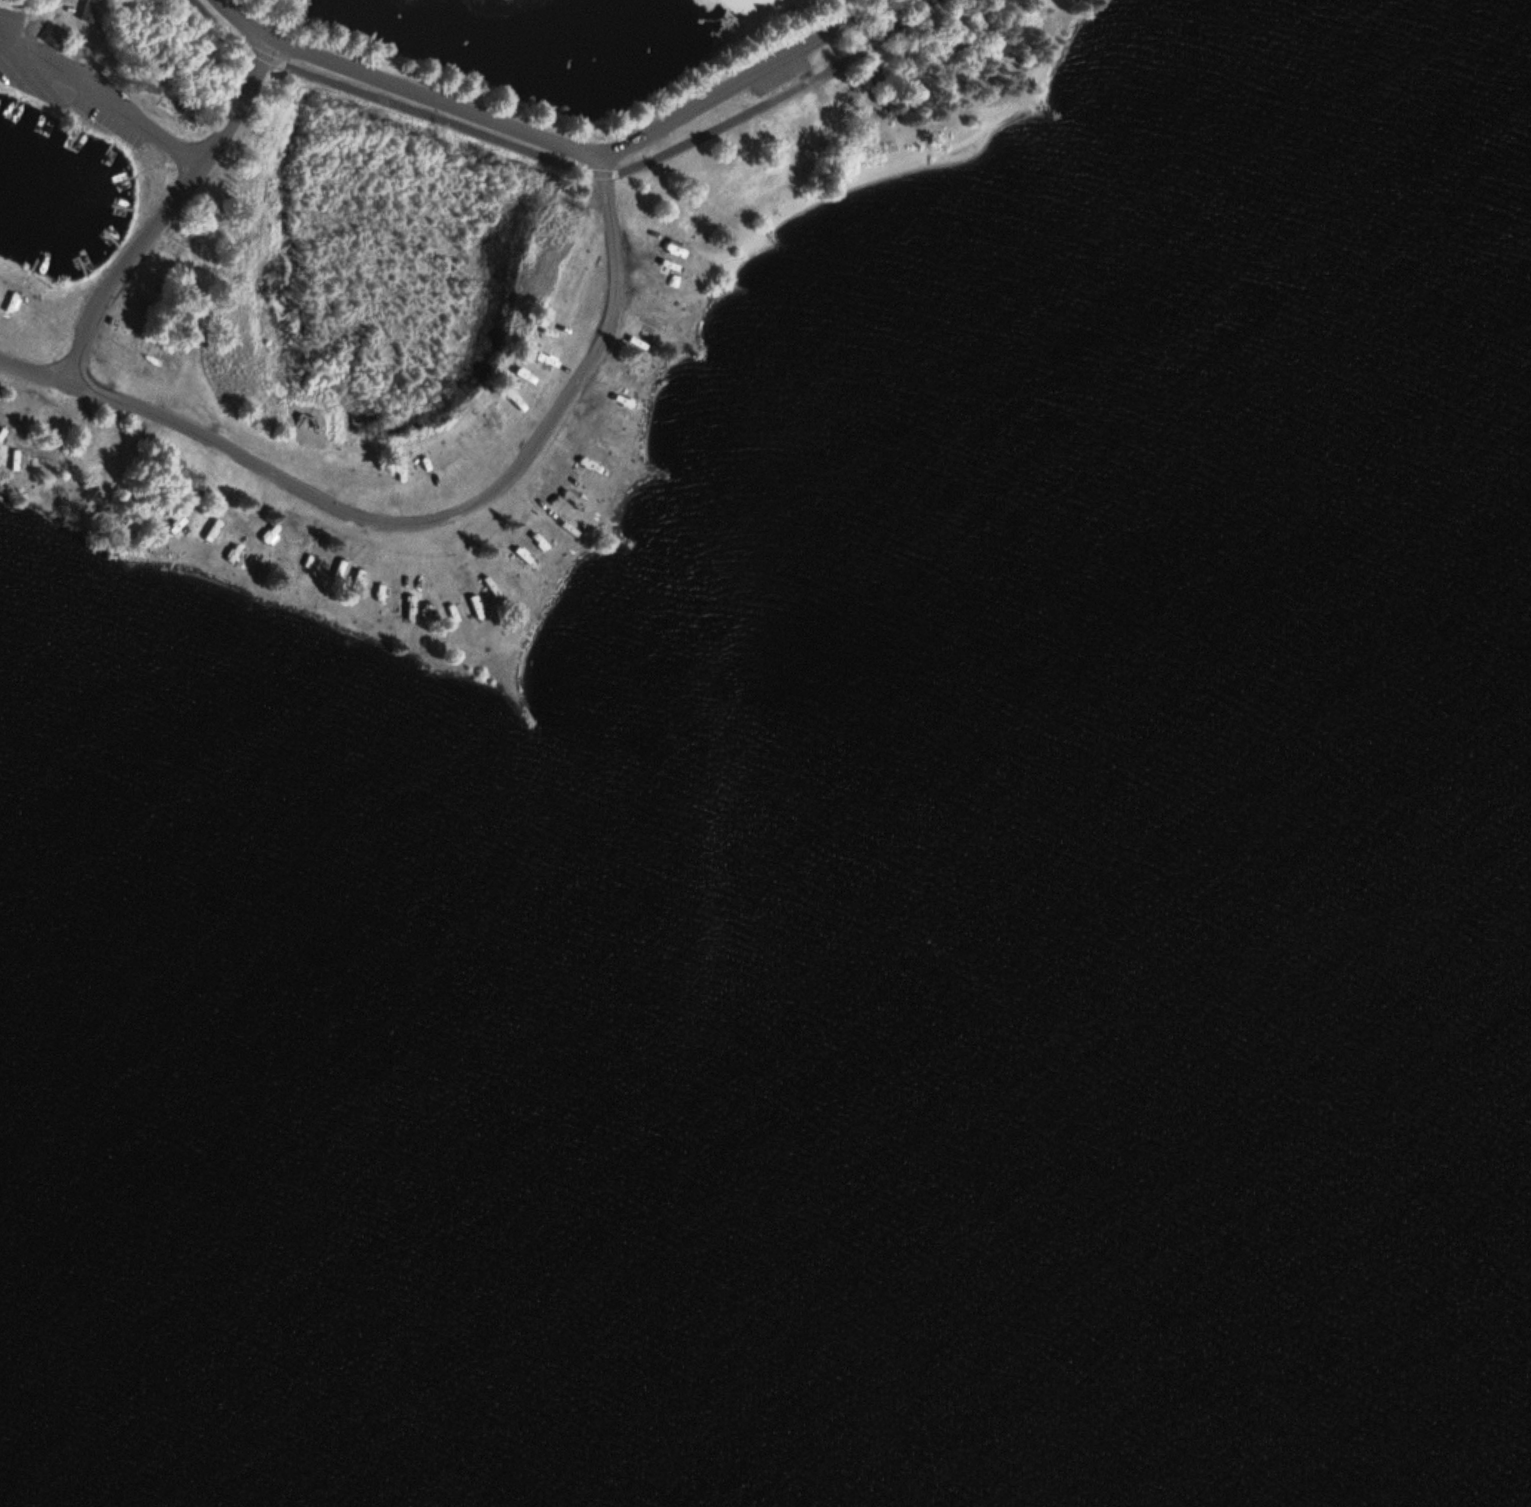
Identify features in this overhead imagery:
road: (96, 105)
road: (549, 137)
road: (179, 181)
building: (619, 334)
road: (369, 469)
building: (397, 607)
building: (493, 624)

